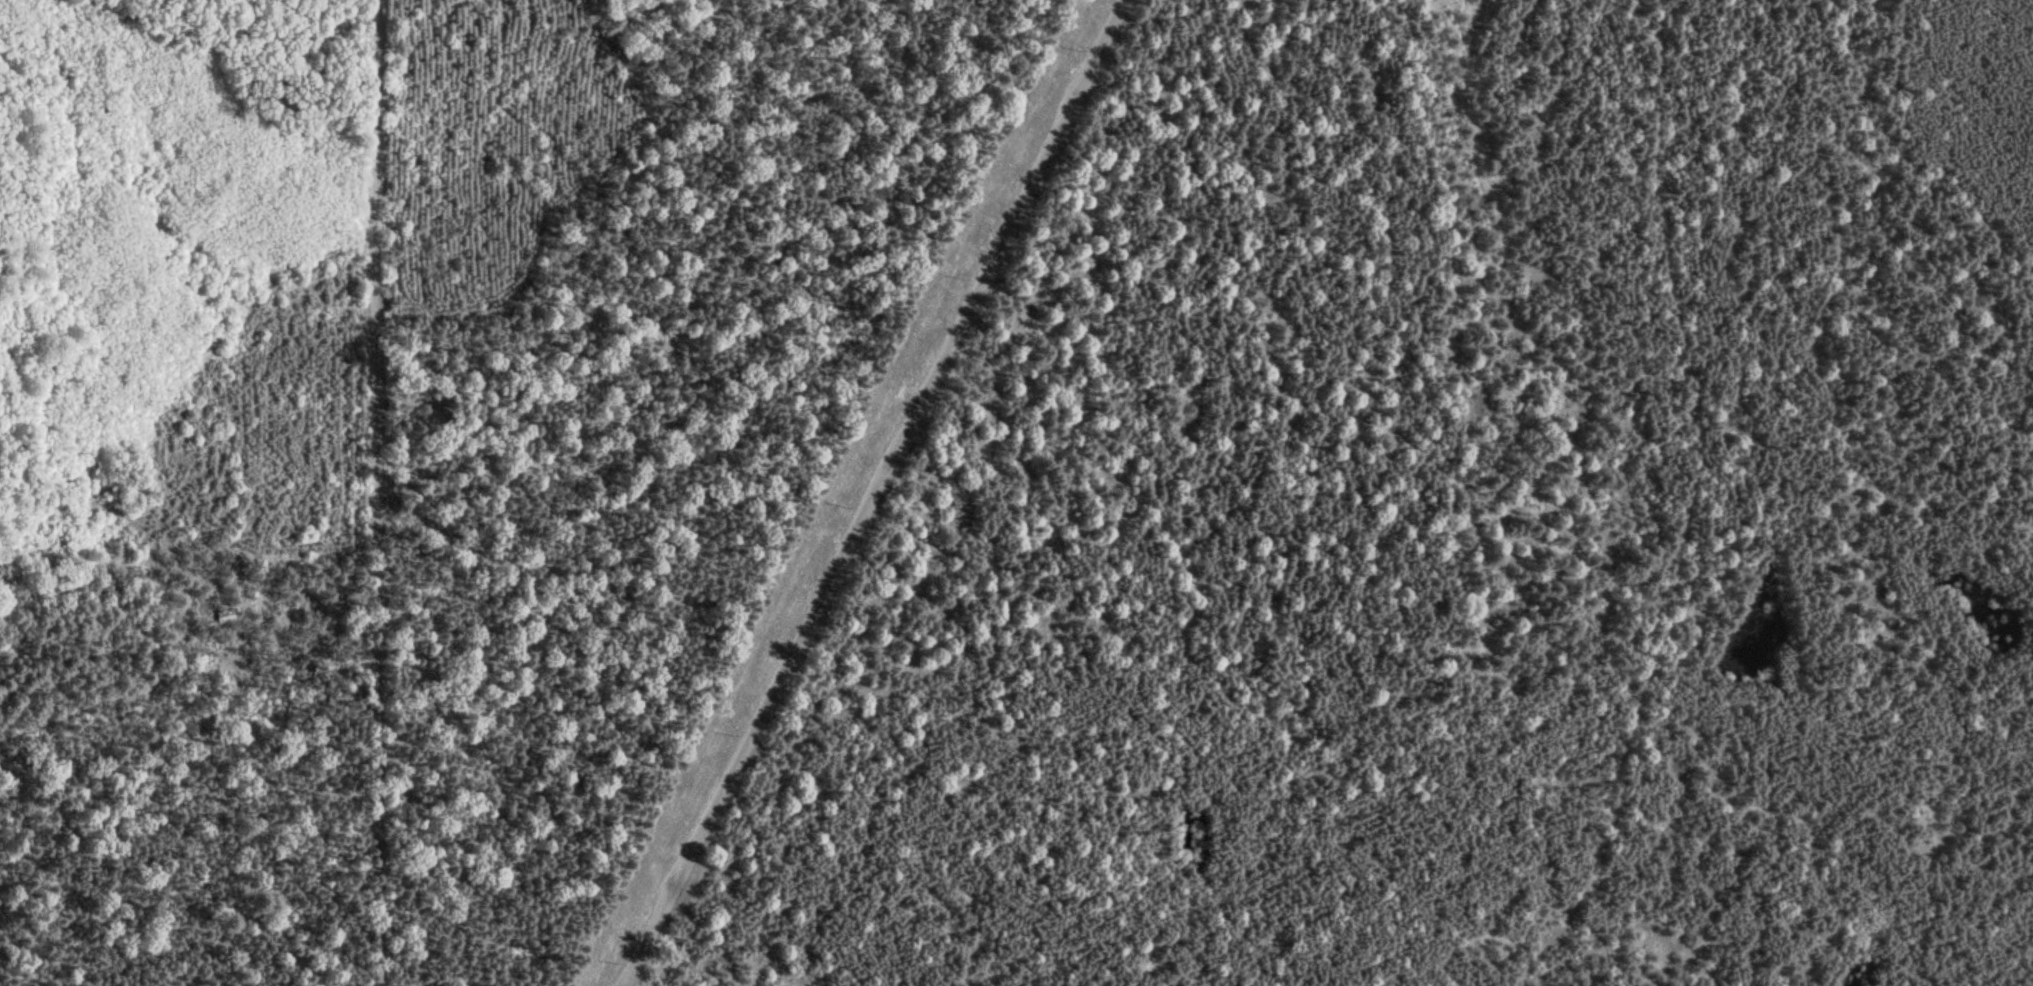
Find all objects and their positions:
road: (870, 489)
road: (379, 493)
road: (1690, 507)
building: (222, 617)
road: (317, 869)

